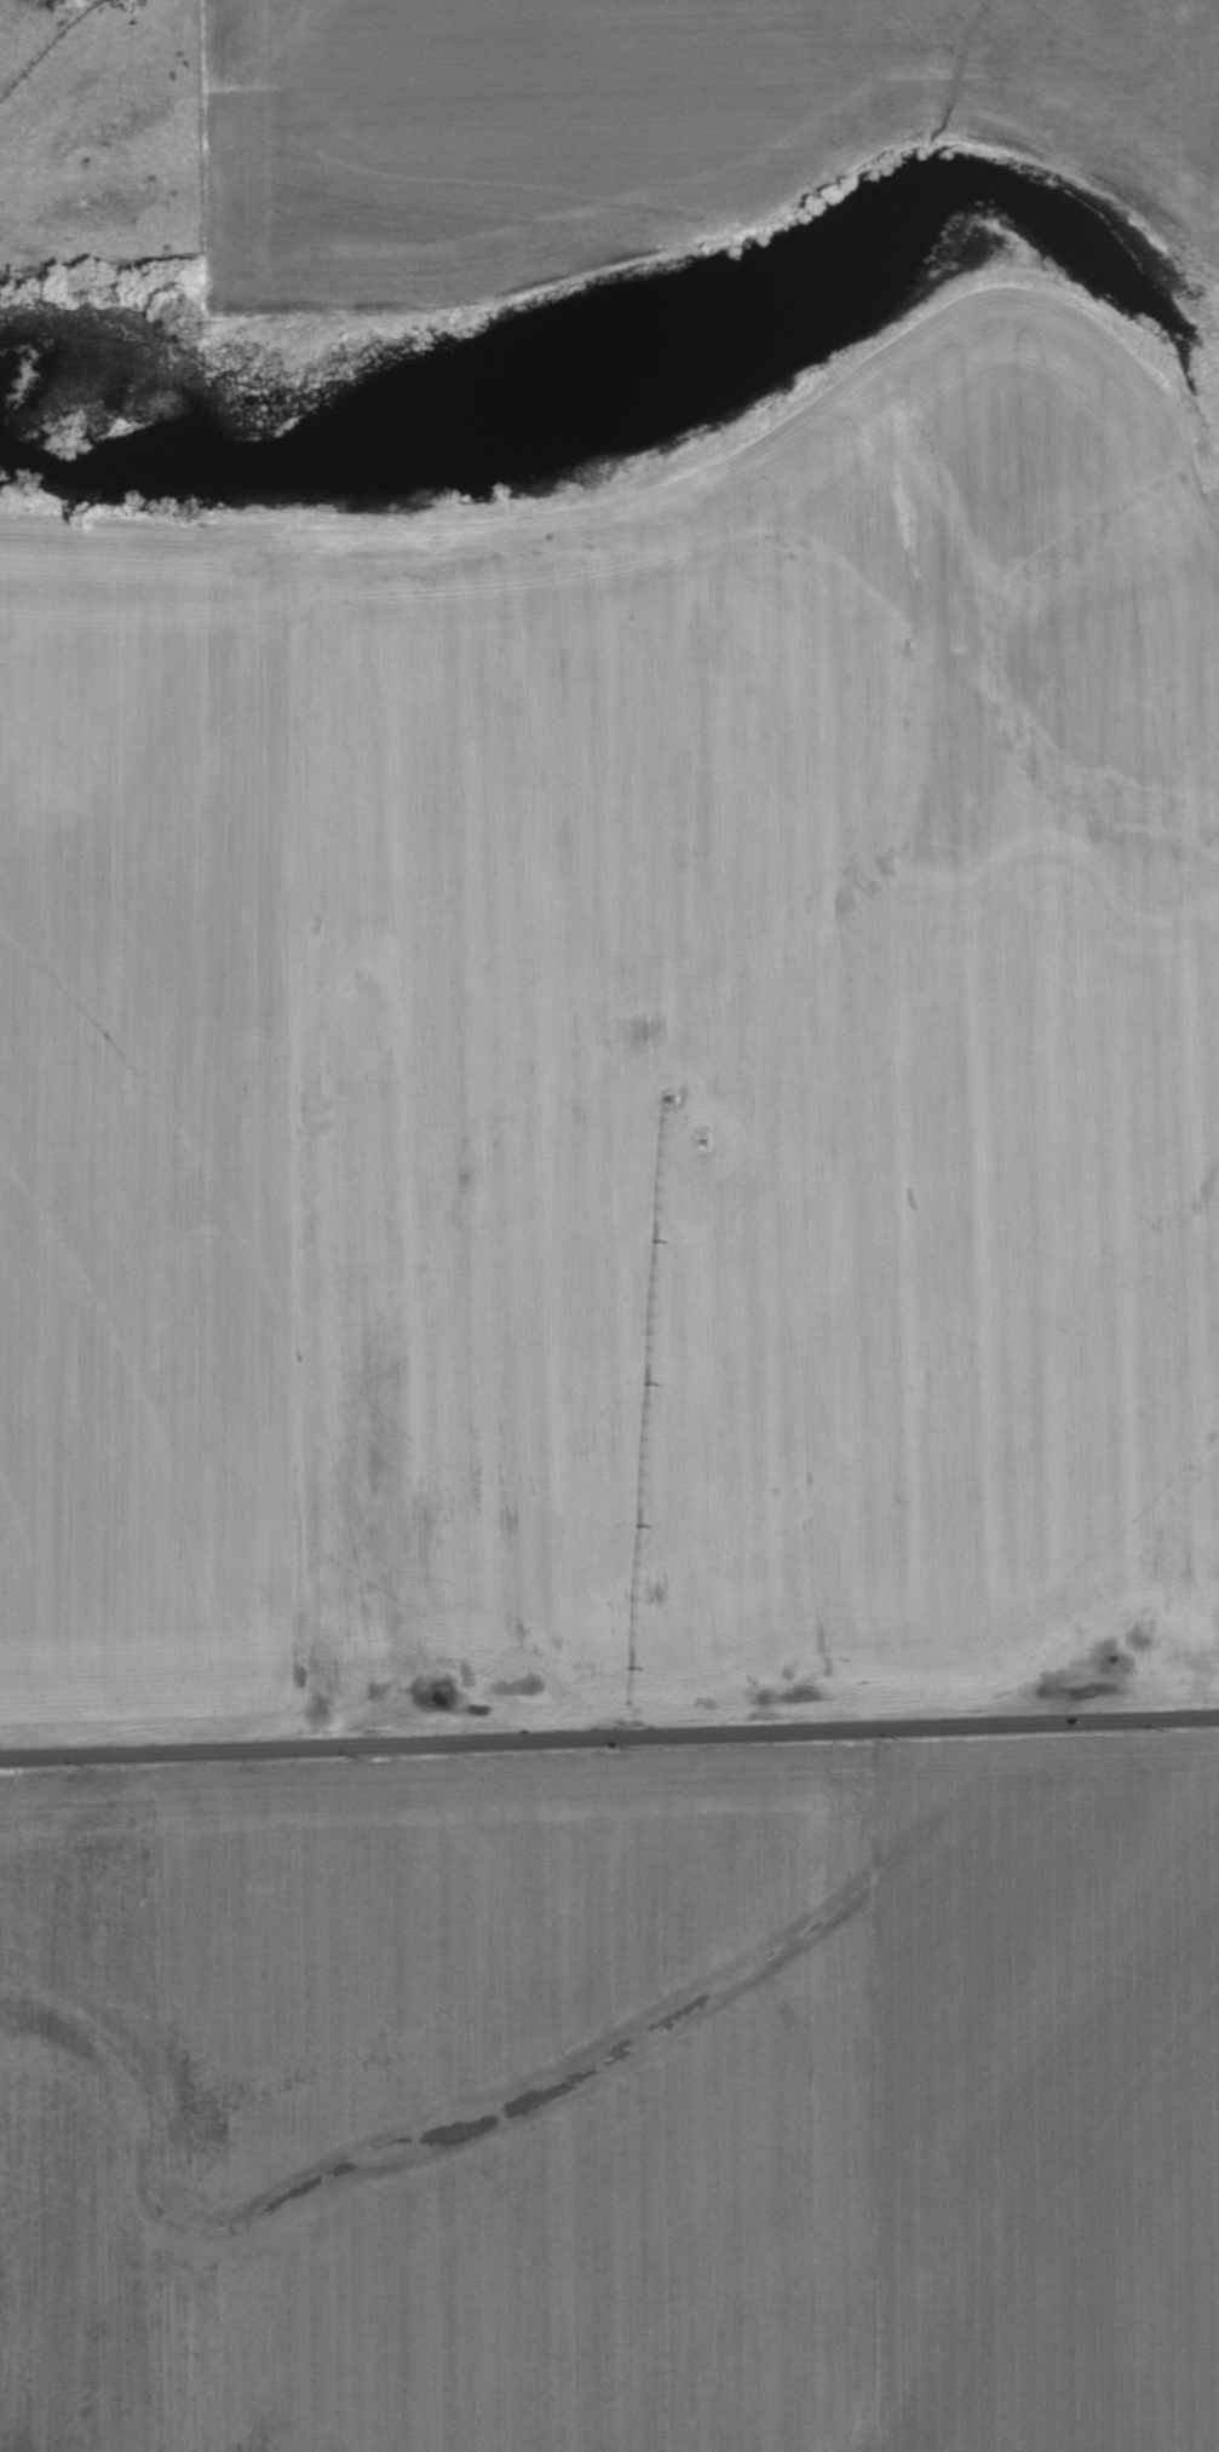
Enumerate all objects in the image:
road: (609, 1736)

